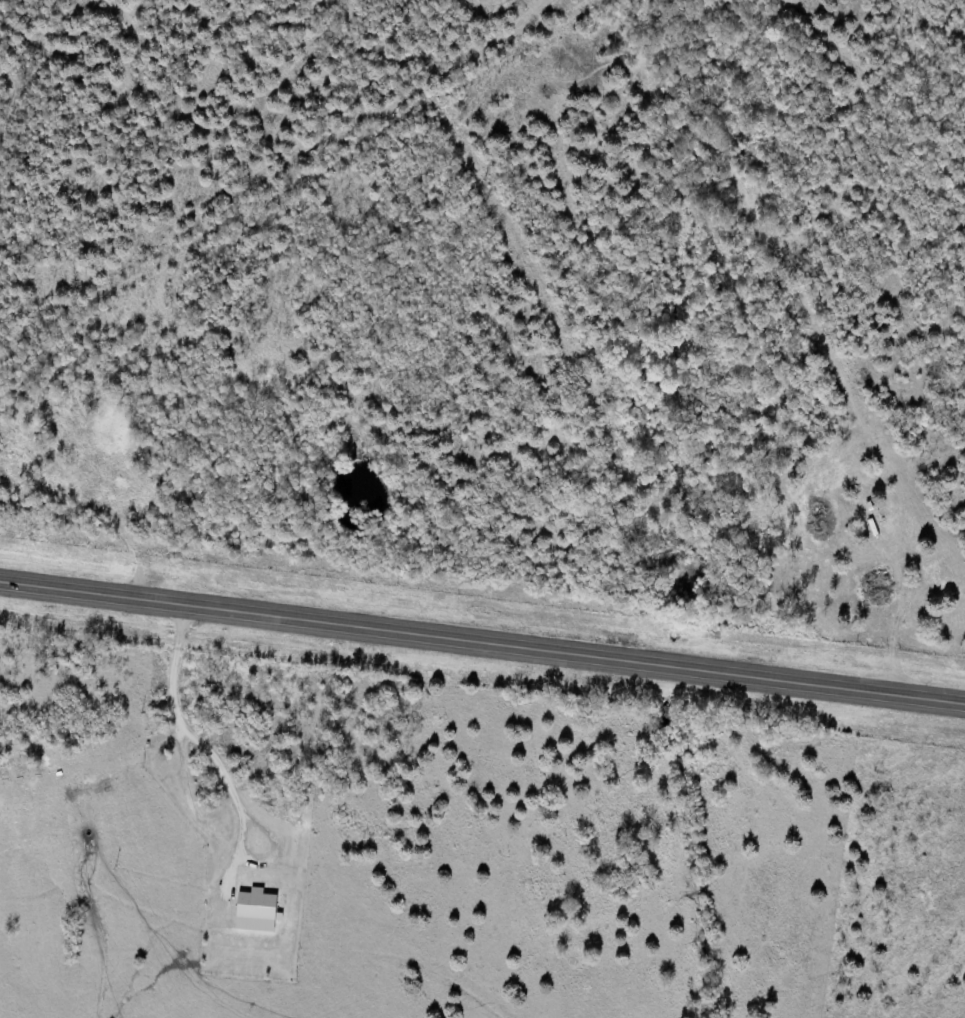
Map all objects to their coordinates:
road: (482, 637)
building: (257, 911)

